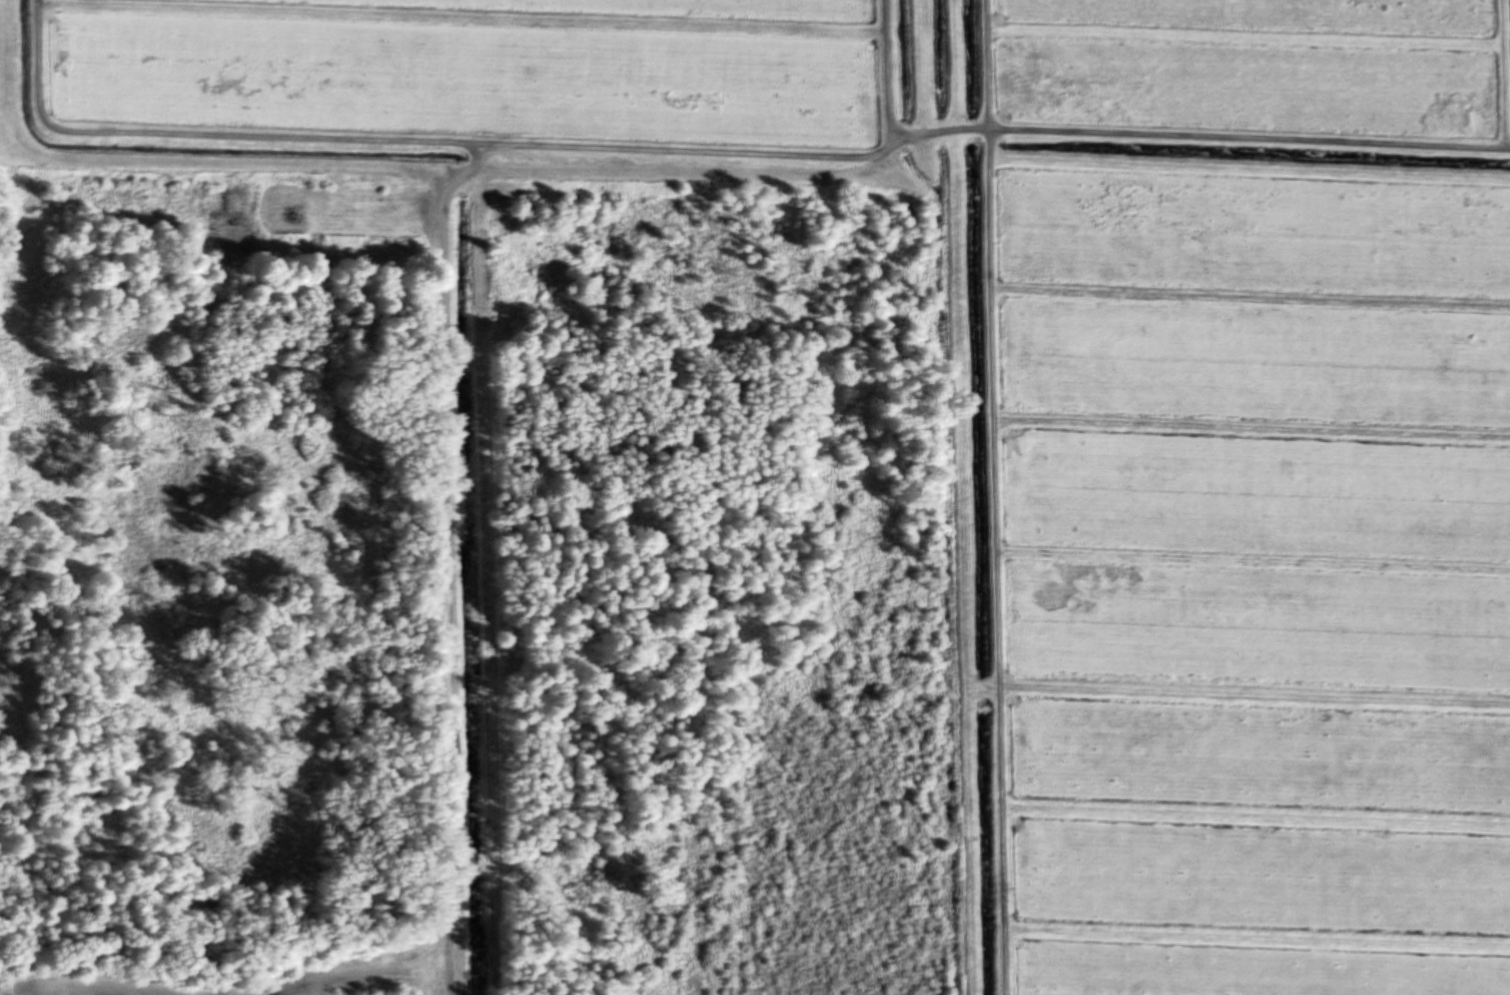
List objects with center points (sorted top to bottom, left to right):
crop: (1073, 401)

